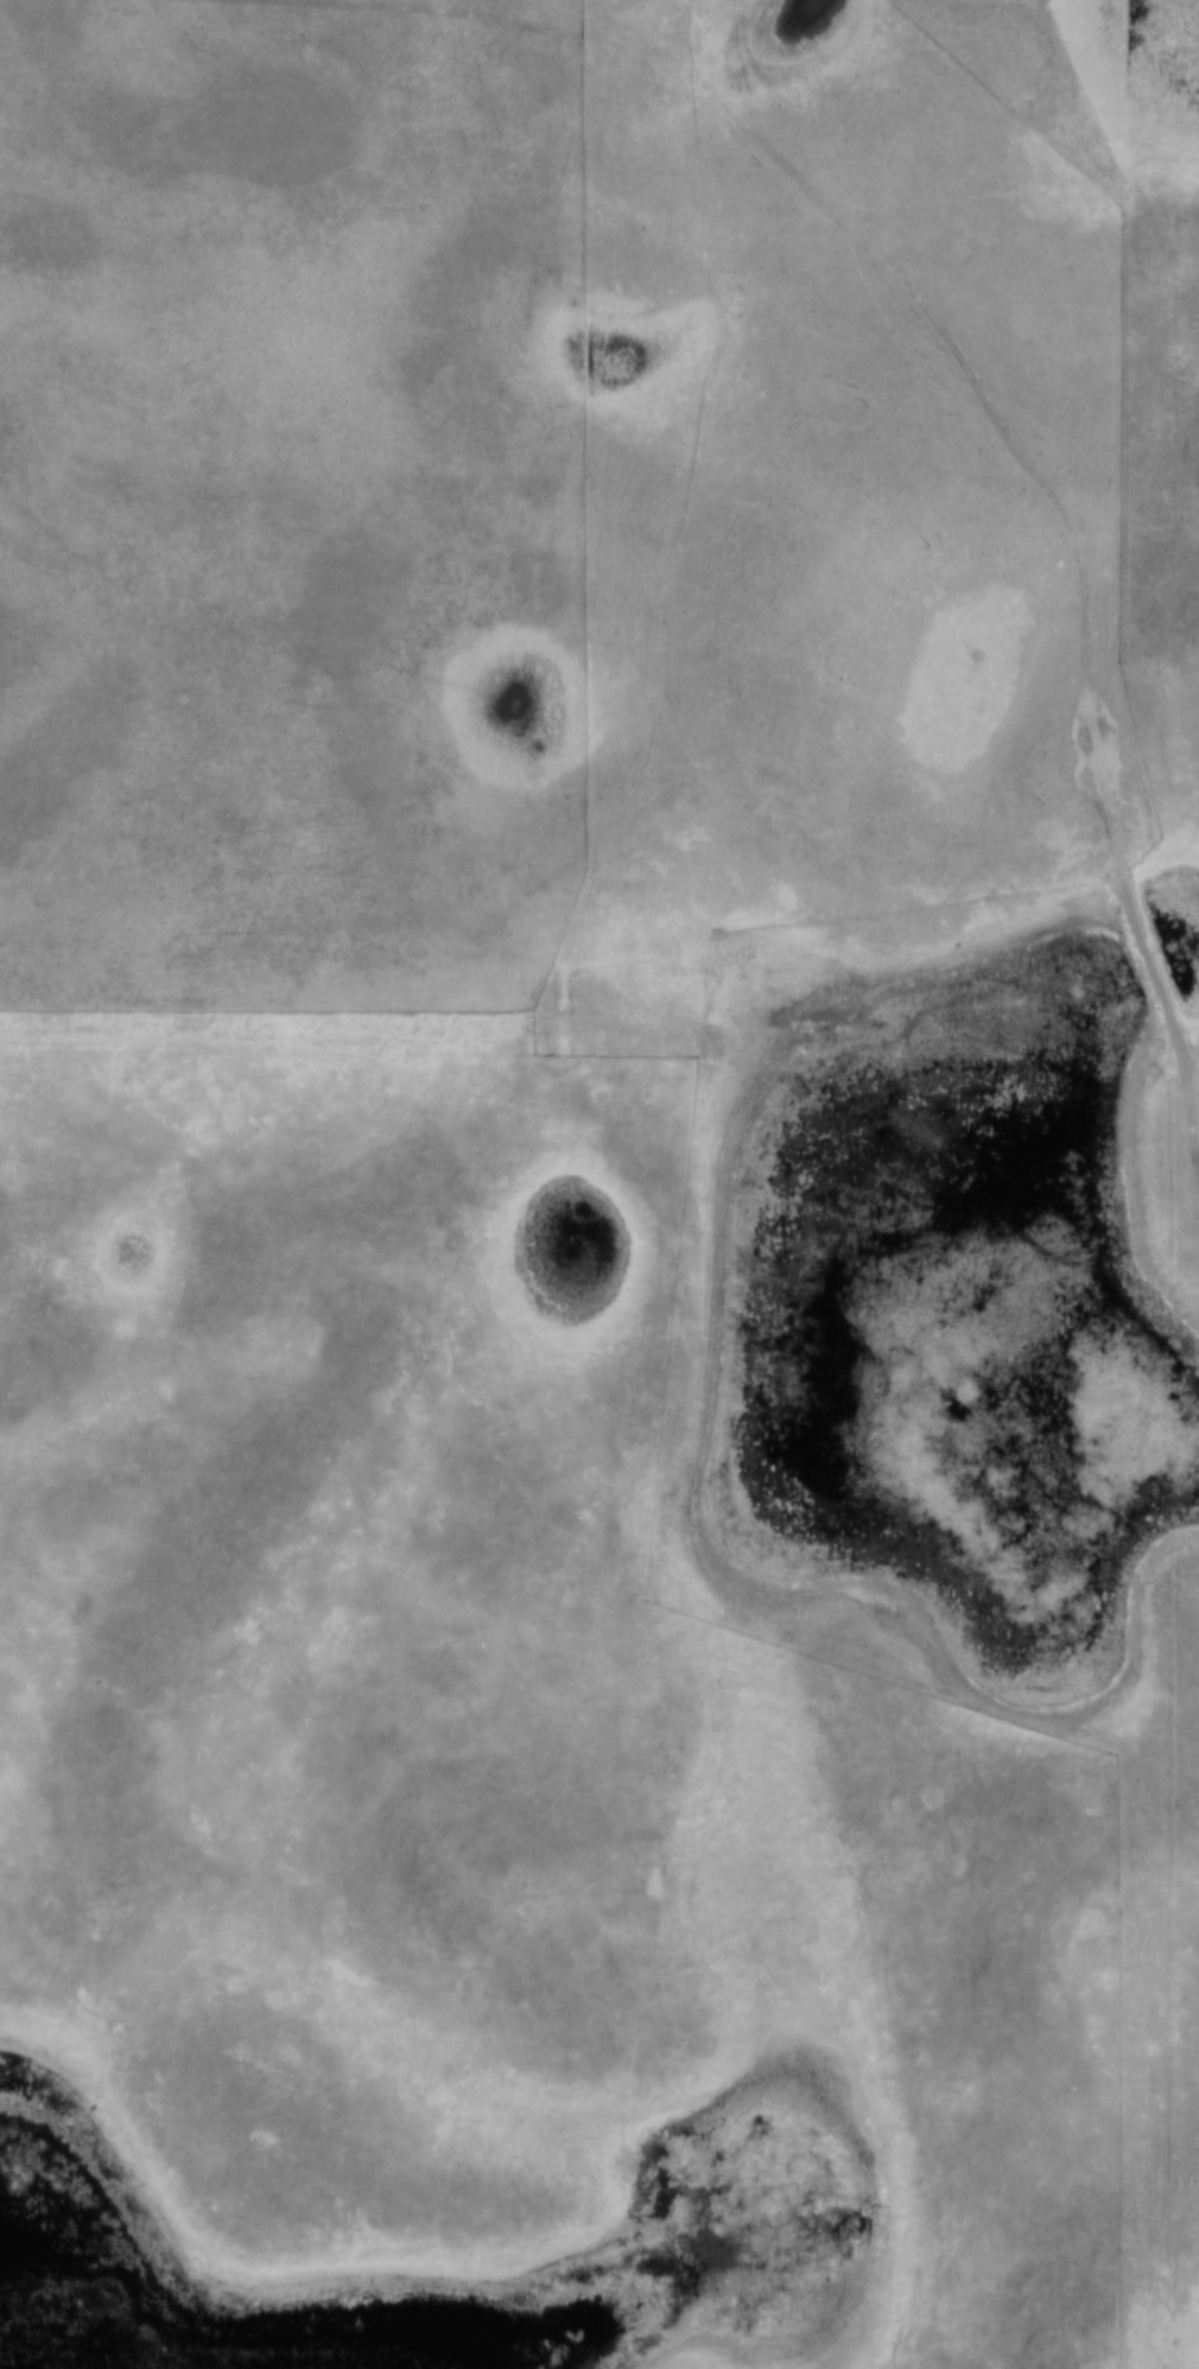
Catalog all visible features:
road: (1085, 1183)

